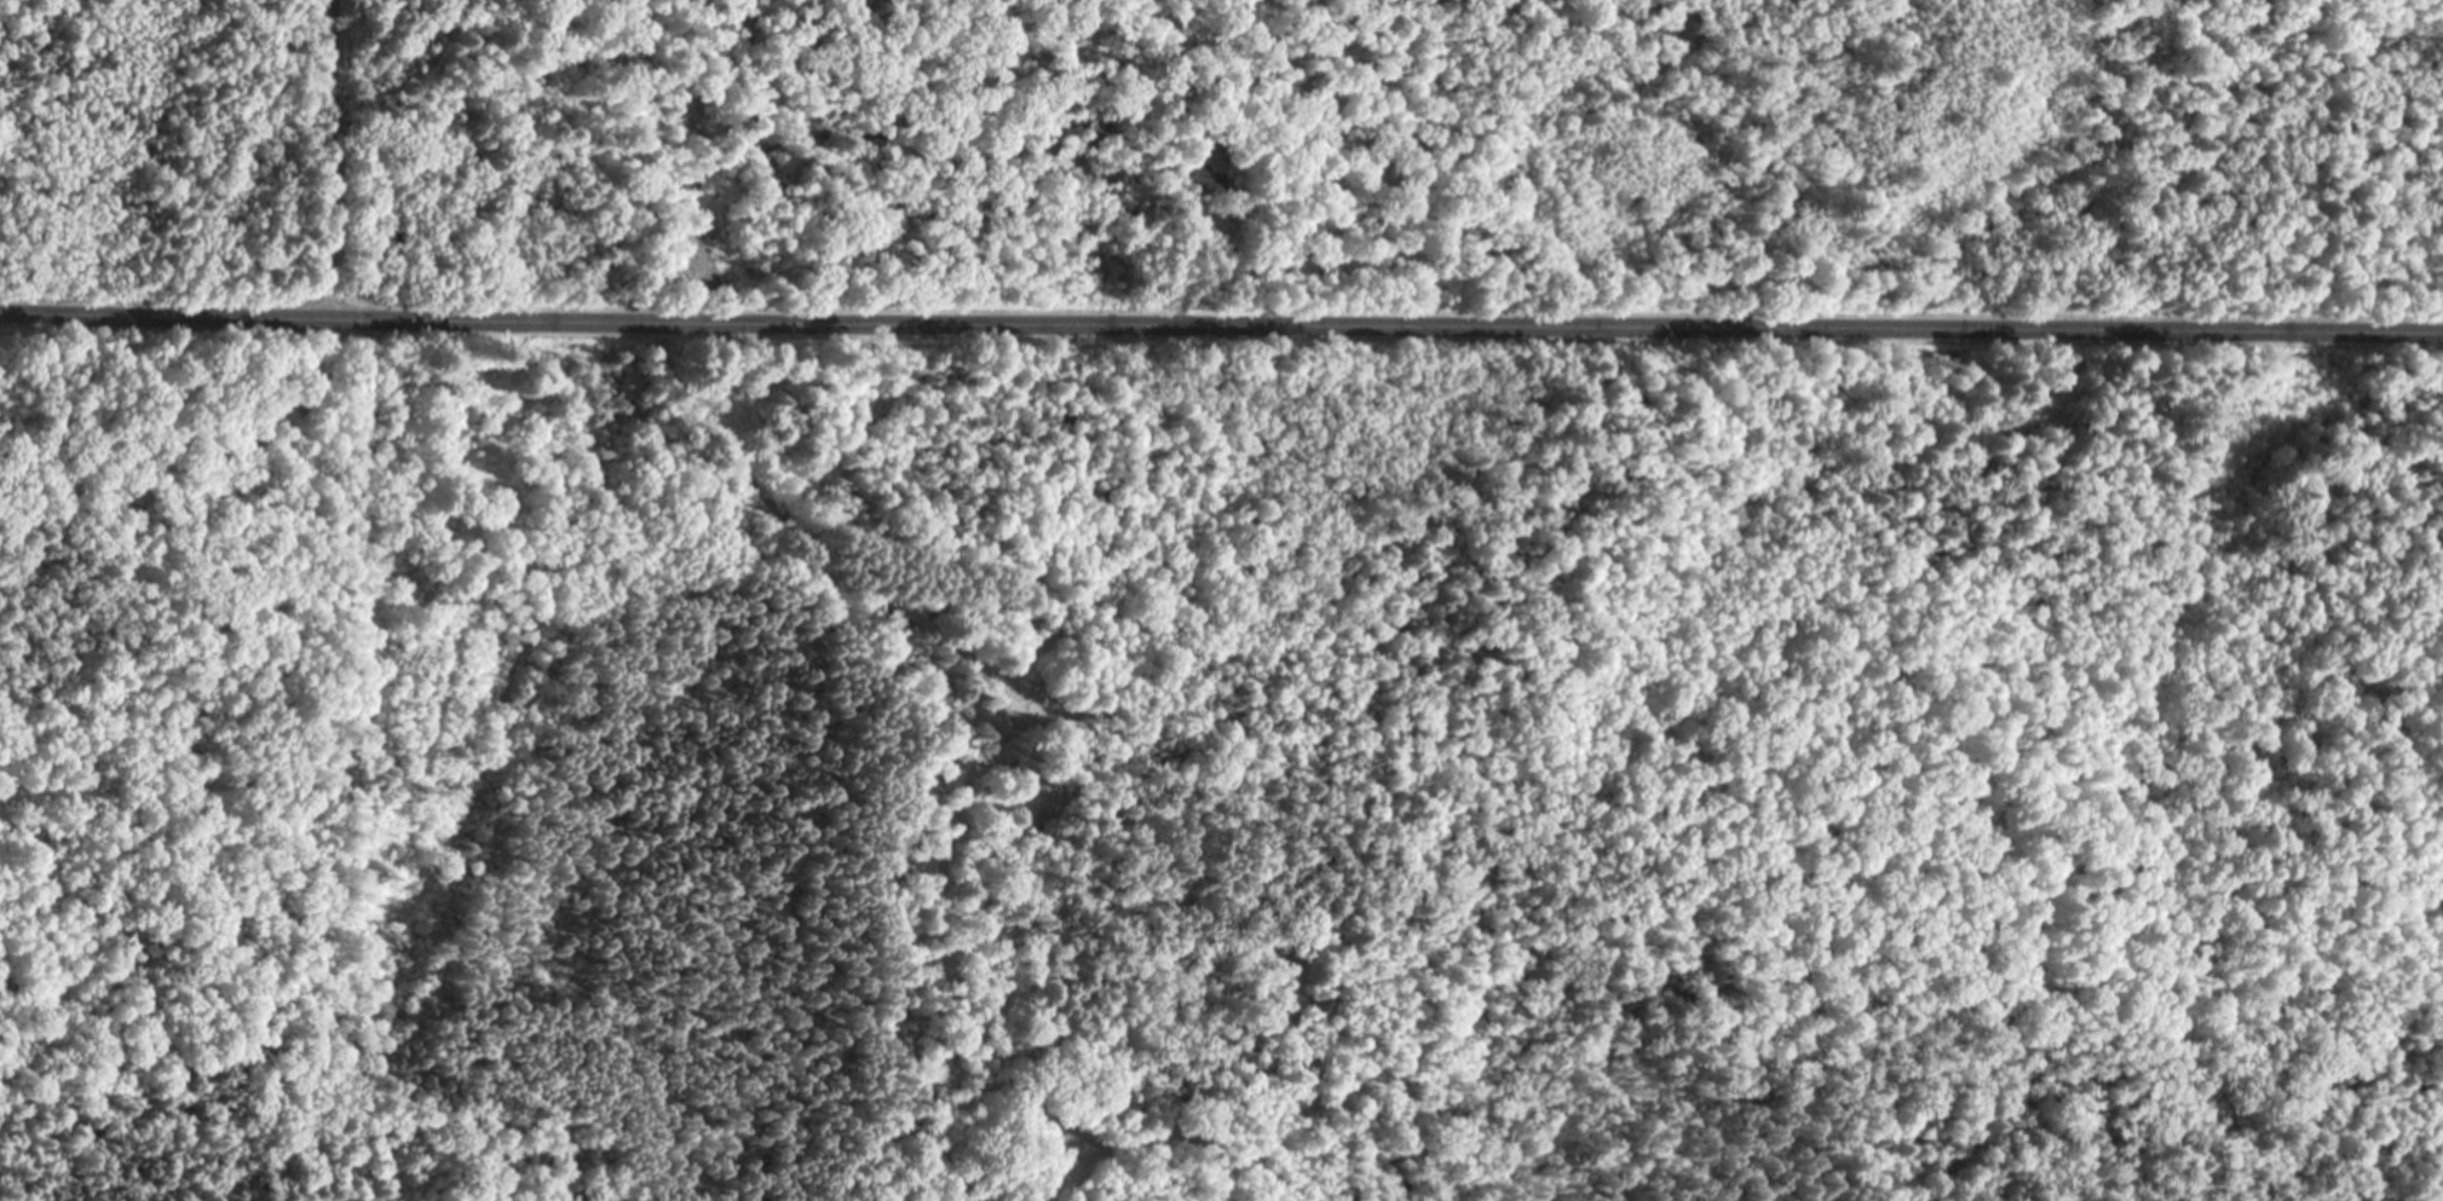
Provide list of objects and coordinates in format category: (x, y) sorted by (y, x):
road: (336, 154)
road: (1221, 314)

